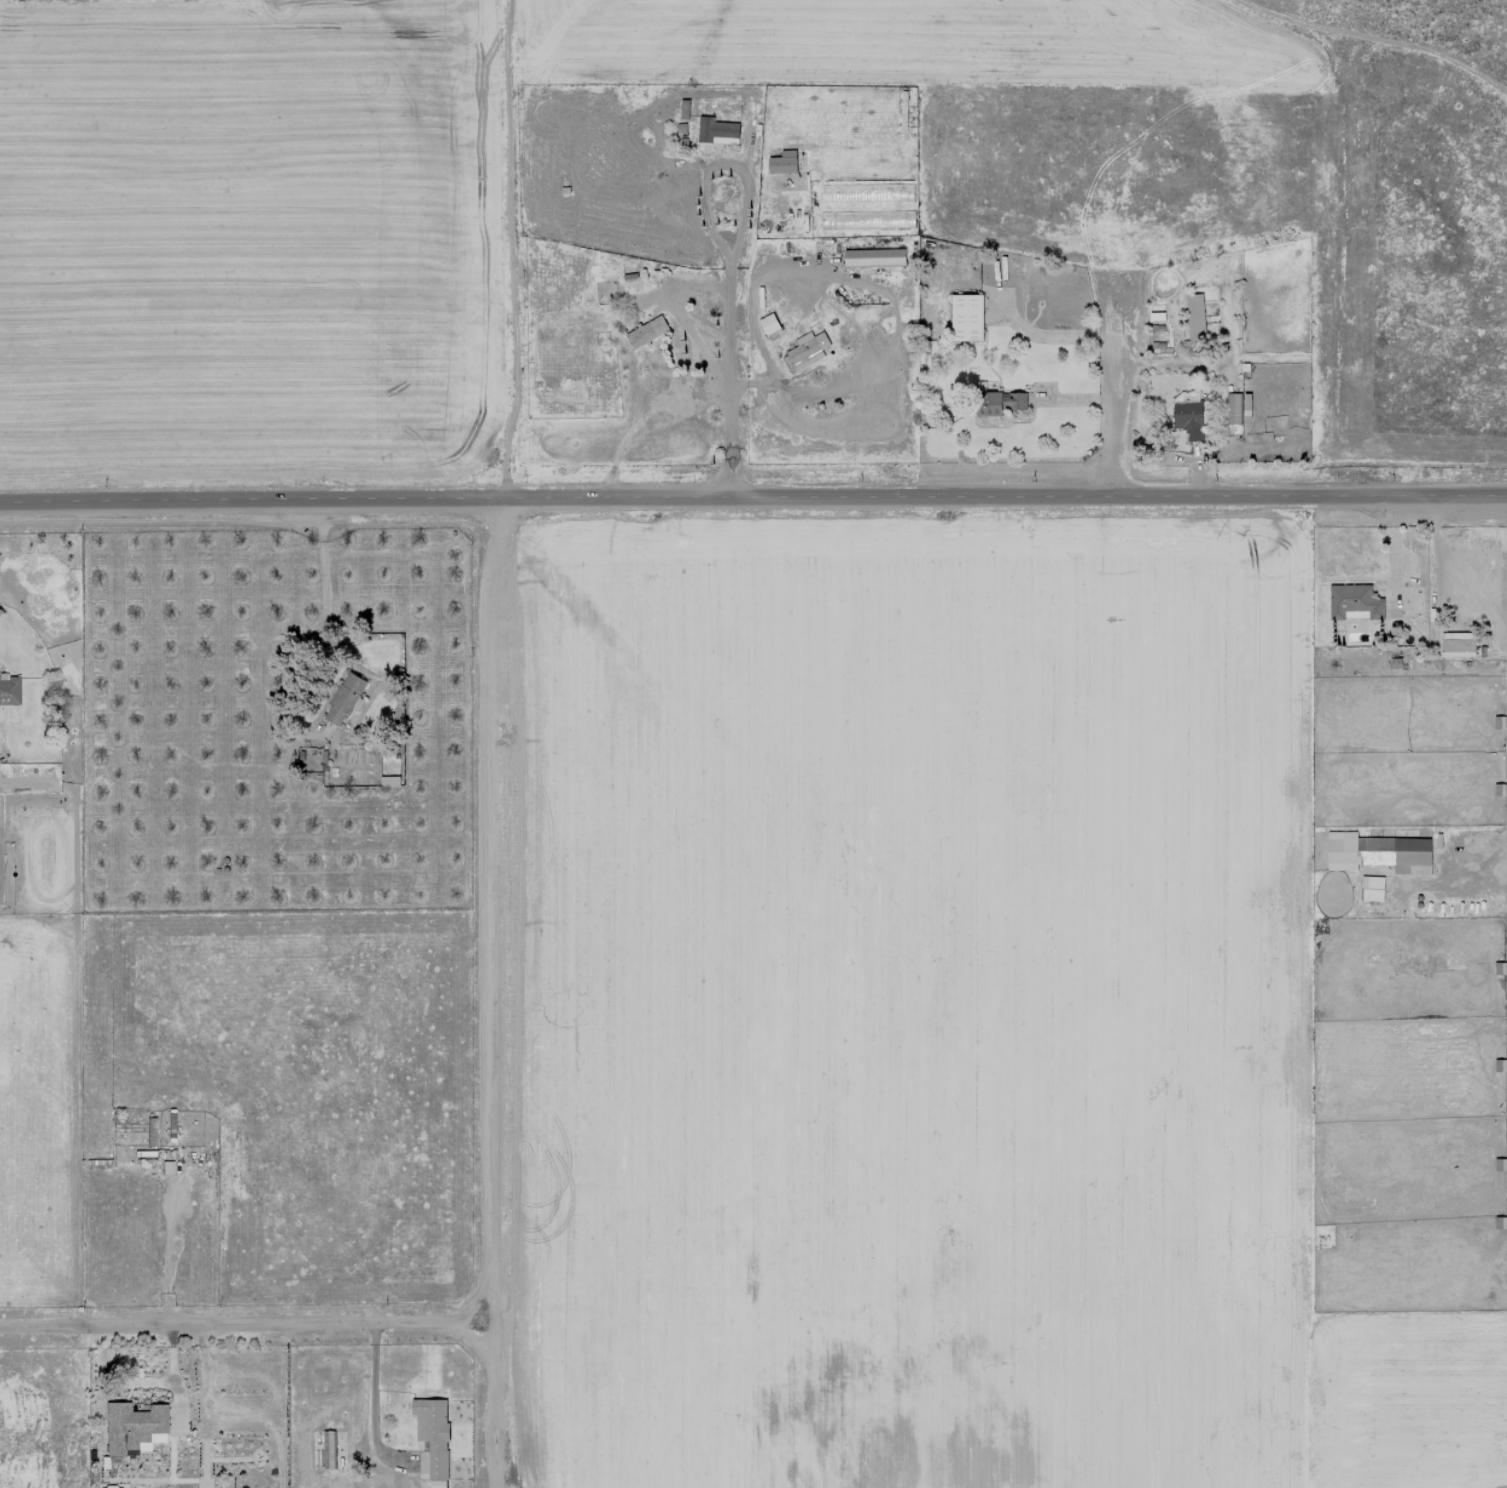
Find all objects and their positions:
building: (684, 109)
building: (717, 131)
building: (783, 163)
road: (533, 248)
building: (875, 257)
building: (1195, 316)
building: (967, 317)
building: (769, 323)
building: (647, 332)
road: (1052, 336)
road: (729, 349)
building: (805, 351)
road: (1117, 391)
building: (1000, 403)
building: (1238, 408)
building: (1189, 419)
road: (753, 496)
building: (1354, 602)
building: (1458, 644)
building: (9, 691)
building: (345, 698)
building: (390, 781)
building: (1378, 853)
building: (1372, 888)
road: (501, 991)
road: (170, 1251)
road: (250, 1324)
road: (171, 1377)
road: (372, 1406)
building: (133, 1428)
building: (433, 1439)
building: (326, 1449)

